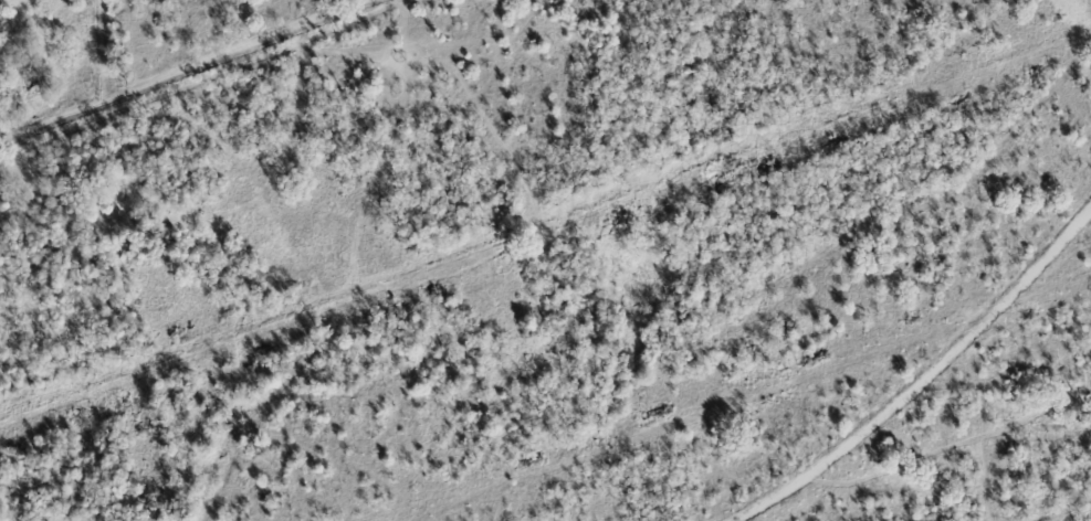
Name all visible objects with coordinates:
road: (924, 378)

